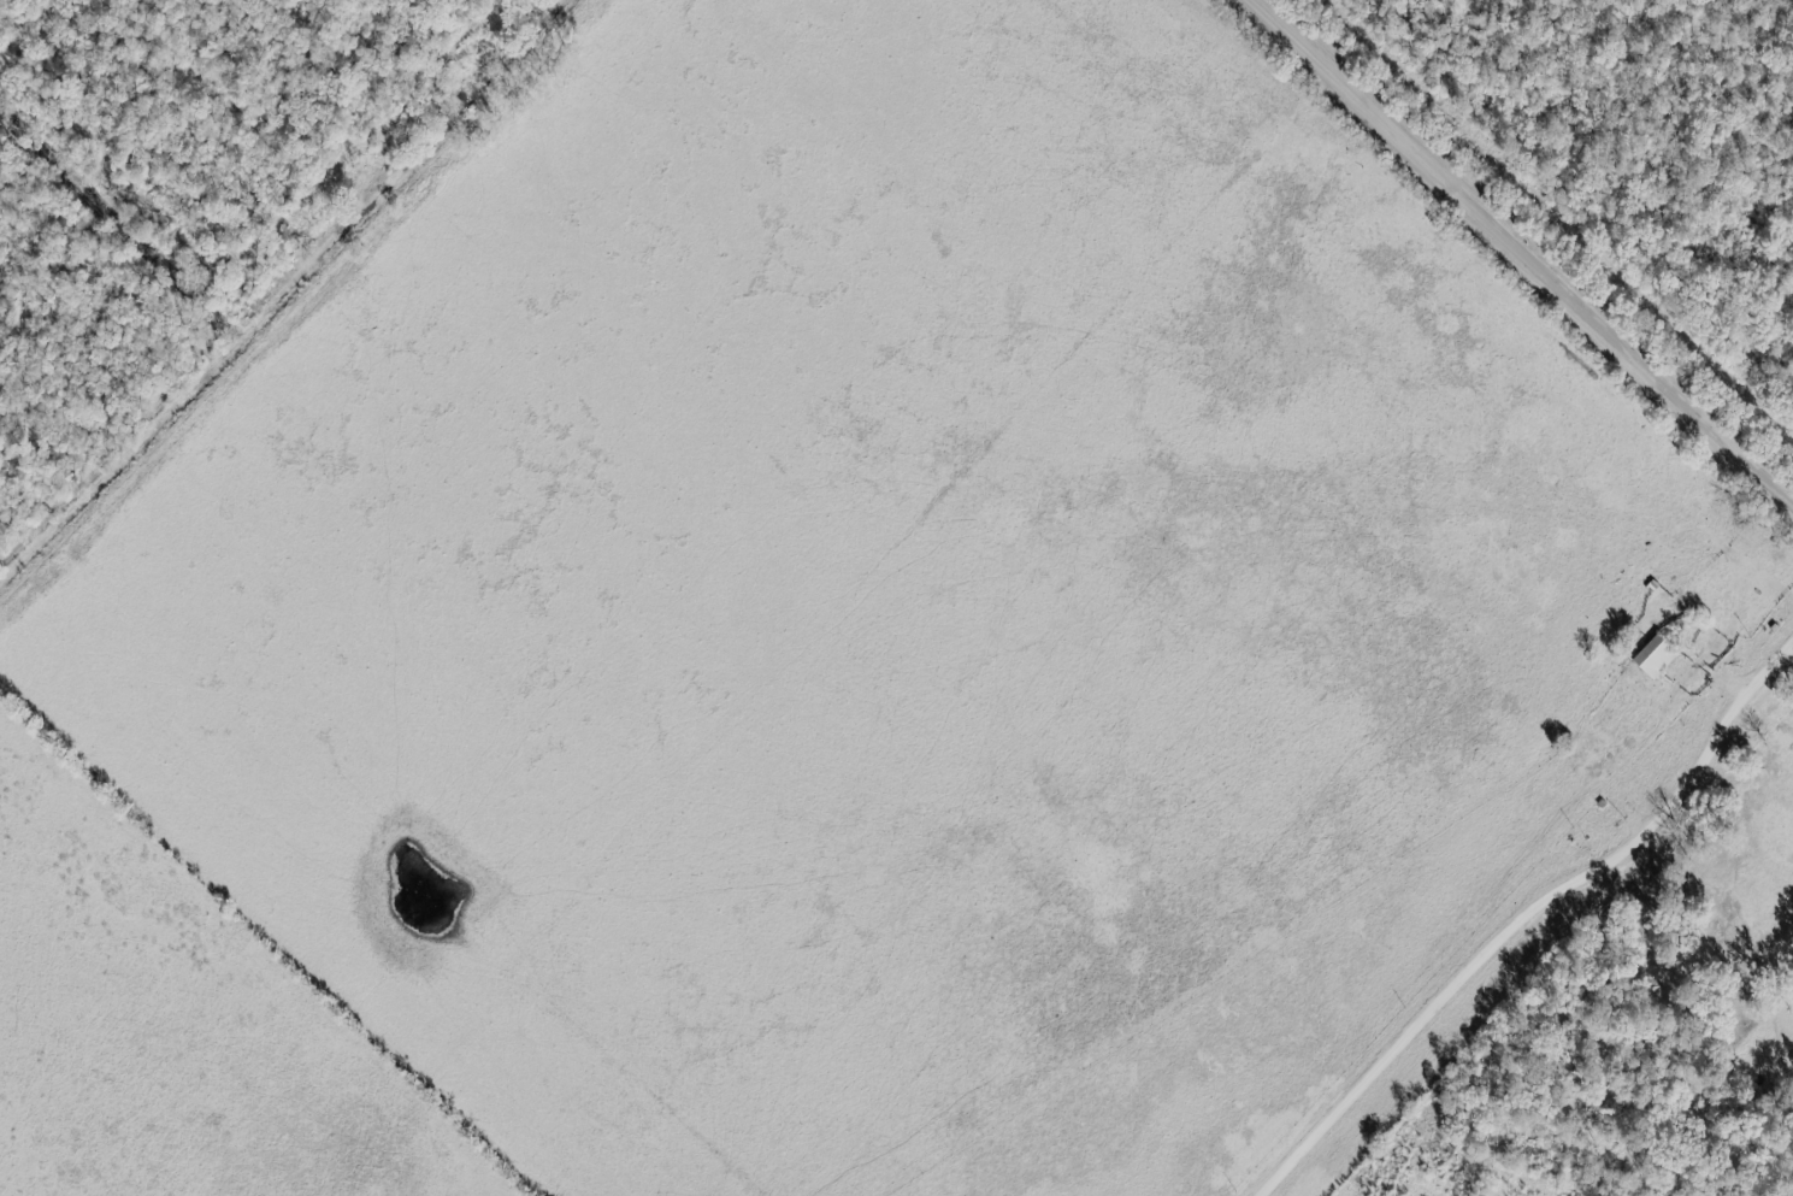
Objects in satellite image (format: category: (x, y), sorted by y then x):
road: (1522, 249)
building: (1656, 655)
road: (1528, 919)

